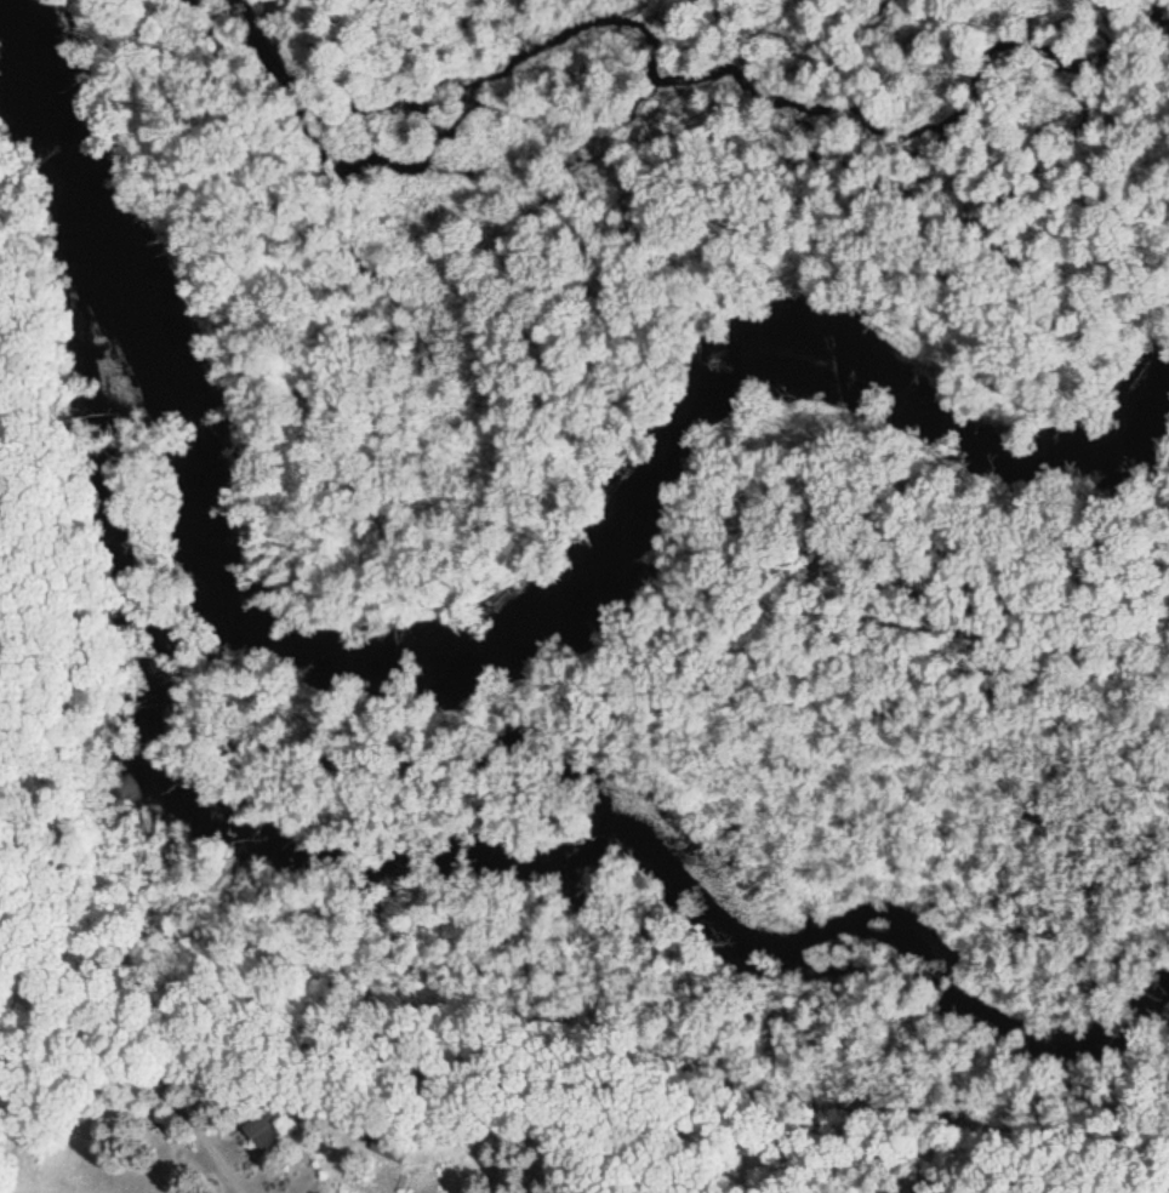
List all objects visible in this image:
river: (491, 644)
building: (266, 1131)
building: (390, 1147)
road: (221, 1160)

